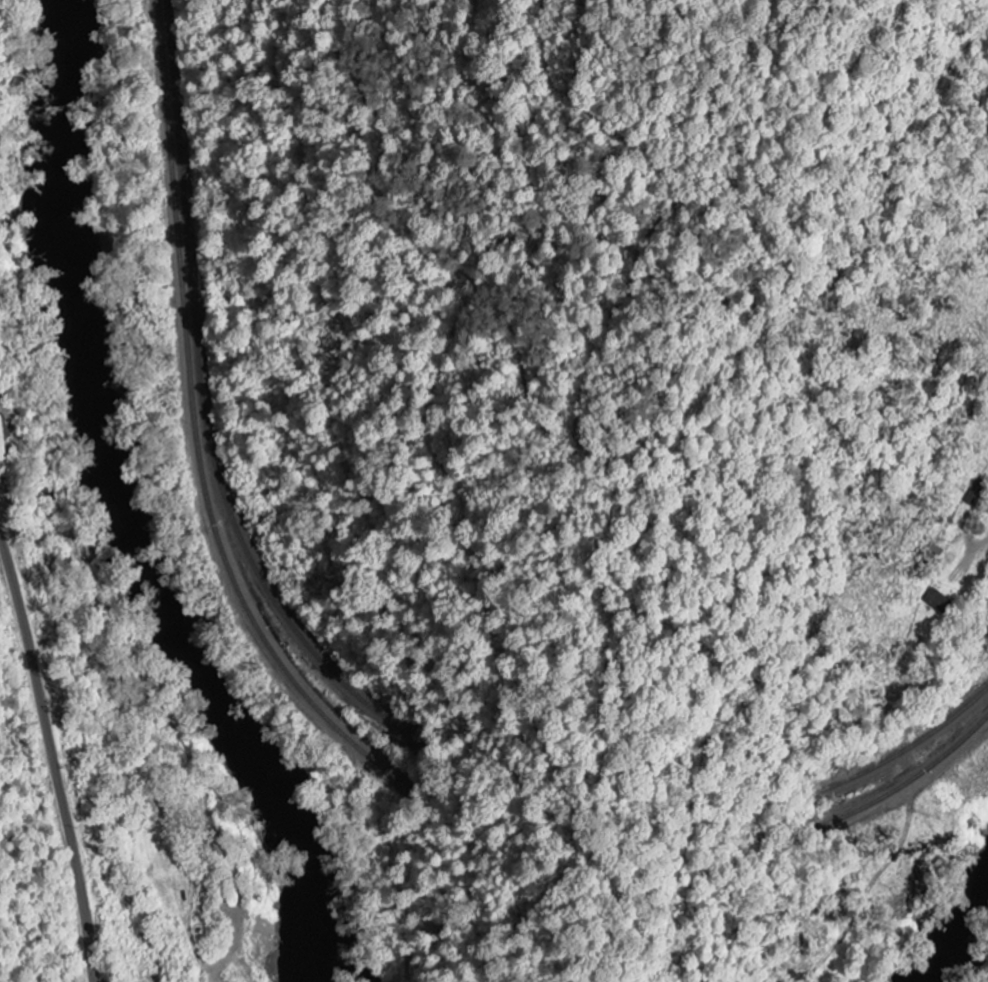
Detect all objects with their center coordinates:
river: (78, 236)
building: (4, 441)
building: (936, 602)
railway: (325, 704)
railway: (316, 710)
river: (234, 722)
road: (51, 758)
river: (964, 949)

